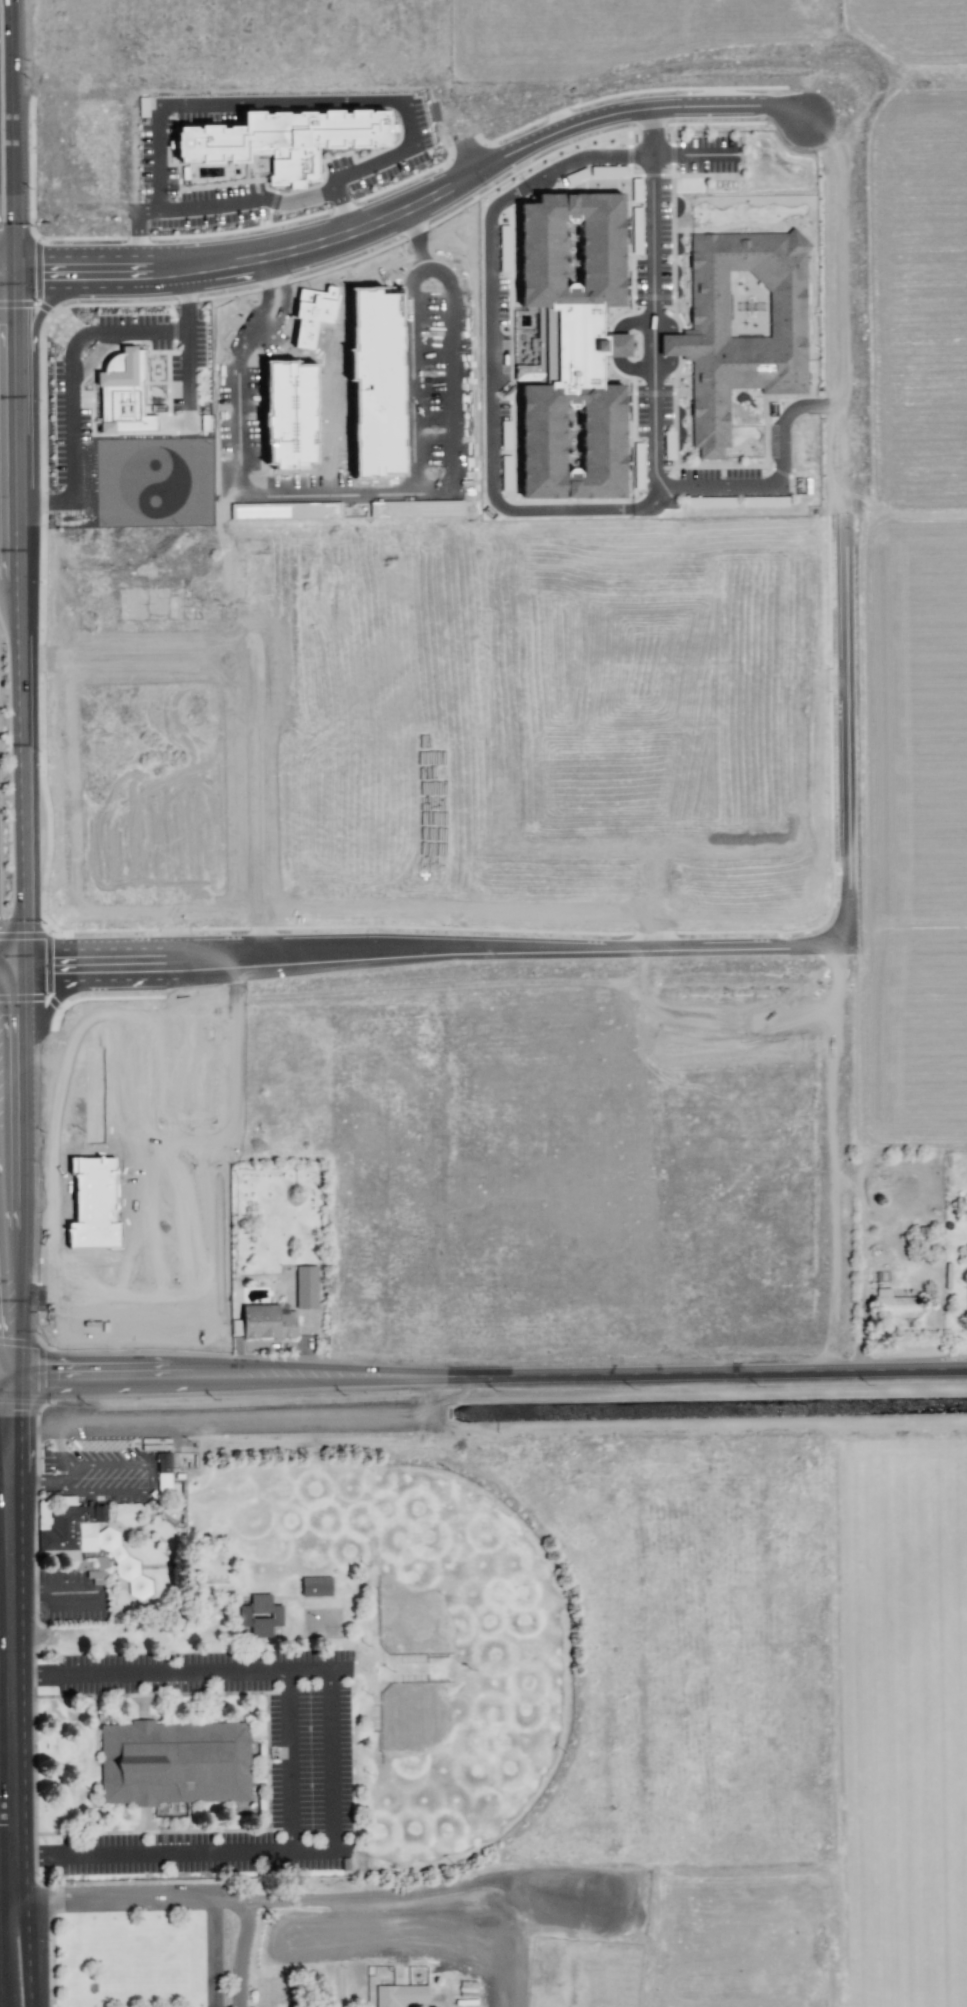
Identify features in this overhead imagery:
road: (231, 103)
building: (283, 141)
road: (693, 155)
road: (409, 207)
road: (141, 236)
building: (504, 248)
building: (311, 315)
road: (666, 323)
building: (741, 325)
road: (672, 345)
building: (573, 347)
road: (68, 360)
road: (666, 367)
building: (535, 372)
crop: (547, 386)
building: (122, 394)
road: (653, 402)
building: (288, 415)
building: (505, 435)
building: (505, 473)
road: (367, 493)
building: (415, 509)
road: (15, 620)
road: (618, 946)
road: (4, 953)
road: (4, 964)
building: (93, 1204)
building: (966, 1281)
building: (305, 1287)
building: (895, 1305)
road: (860, 1309)
building: (267, 1322)
road: (485, 1363)
road: (2, 1365)
traffic signals: (5, 1366)
building: (163, 1472)
road: (7, 1485)
road: (136, 1493)
building: (86, 1543)
park: (450, 1584)
building: (315, 1586)
road: (54, 1593)
building: (260, 1615)
crop: (898, 1719)
park: (453, 1759)
road: (329, 1761)
building: (173, 1763)
road: (3, 1817)
road: (3, 1883)
road: (536, 1886)
road: (411, 1893)
road: (180, 1895)
road: (3, 1911)
road: (209, 1951)
building: (467, 1989)
building: (400, 1995)

